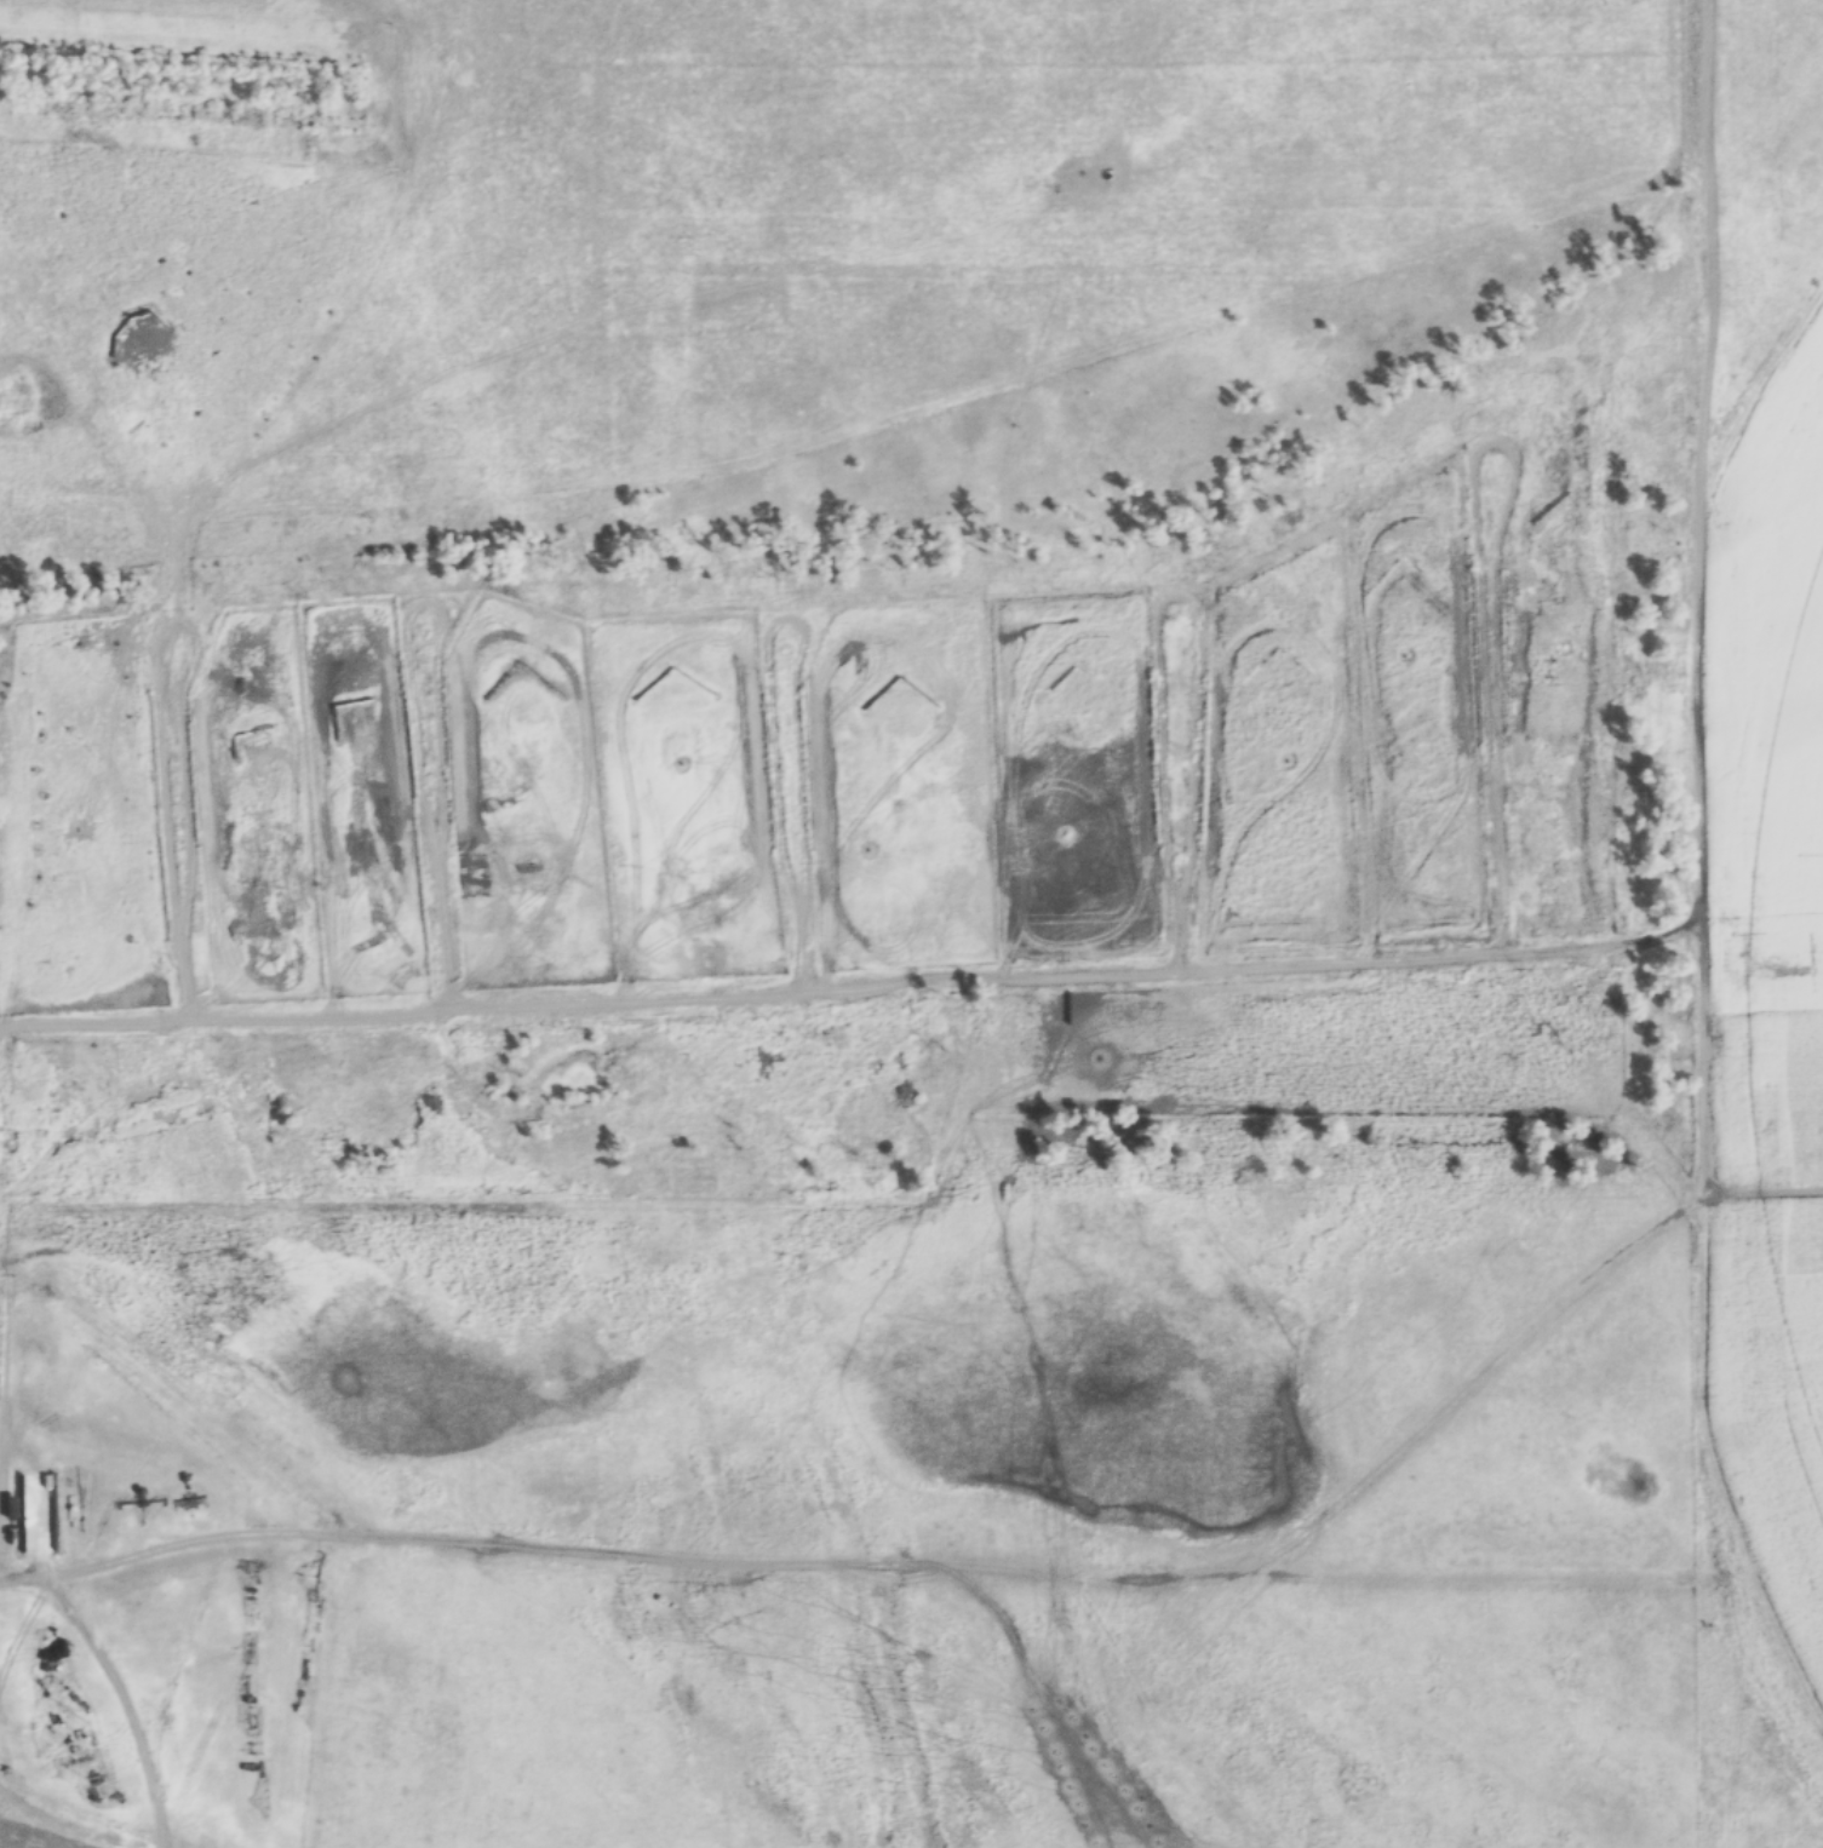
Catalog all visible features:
building: (38, 1515)

